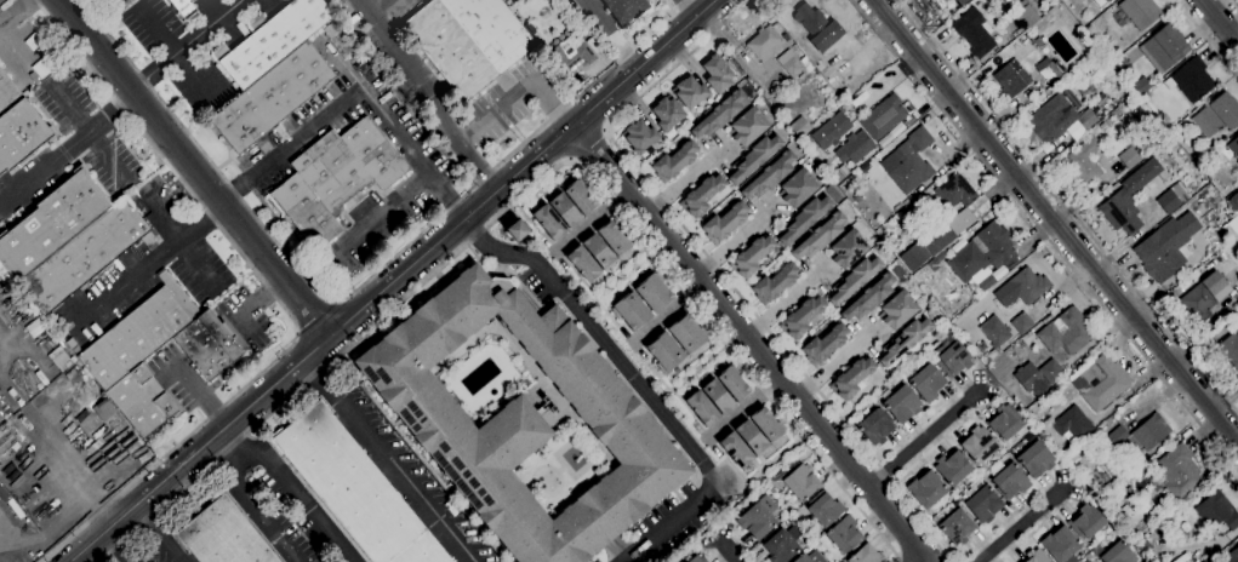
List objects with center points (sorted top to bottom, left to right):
building: (1106, 0)
building: (1108, 0)
building: (962, 1)
building: (1004, 1)
road: (1233, 4)
road: (376, 7)
road: (688, 7)
building: (182, 8)
building: (622, 8)
road: (13, 12)
building: (1140, 12)
building: (1026, 15)
road: (595, 16)
road: (1220, 21)
building: (817, 27)
building: (974, 31)
building: (786, 36)
road: (1206, 38)
building: (270, 39)
building: (337, 40)
building: (468, 40)
building: (1038, 41)
road: (16, 42)
building: (764, 42)
road: (189, 45)
road: (173, 46)
building: (1164, 47)
road: (736, 52)
building: (1083, 52)
building: (571, 56)
building: (791, 63)
building: (1050, 69)
building: (717, 74)
building: (1012, 78)
road: (660, 80)
building: (1191, 80)
building: (1142, 85)
building: (690, 91)
building: (1086, 91)
building: (7, 93)
building: (272, 97)
road: (64, 110)
road: (108, 111)
building: (667, 113)
building: (719, 114)
building: (1066, 115)
building: (1217, 115)
building: (883, 116)
building: (747, 126)
building: (800, 126)
building: (829, 130)
building: (21, 133)
road: (453, 133)
road: (396, 134)
building: (639, 136)
road: (587, 145)
building: (854, 147)
building: (1233, 147)
building: (1211, 148)
building: (1136, 151)
building: (753, 157)
building: (674, 161)
building: (912, 161)
building: (1083, 162)
road: (195, 167)
road: (477, 167)
road: (114, 170)
building: (769, 174)
building: (335, 178)
road: (688, 180)
building: (797, 187)
road: (236, 189)
road: (527, 190)
building: (955, 191)
road: (449, 195)
building: (701, 195)
building: (580, 196)
building: (1168, 201)
building: (1233, 201)
road: (1066, 208)
building: (564, 210)
building: (1120, 211)
building: (804, 218)
road: (1057, 220)
road: (200, 222)
building: (548, 222)
road: (591, 222)
building: (724, 222)
building: (51, 223)
building: (517, 230)
road: (1045, 235)
building: (820, 236)
building: (614, 237)
building: (937, 239)
road: (737, 241)
building: (995, 243)
building: (1165, 246)
building: (848, 248)
building: (598, 250)
building: (84, 256)
building: (752, 256)
building: (936, 260)
building: (583, 263)
building: (854, 279)
road: (390, 281)
road: (126, 282)
road: (309, 282)
building: (775, 282)
building: (986, 282)
road: (364, 283)
road: (270, 287)
building: (1022, 287)
building: (654, 292)
building: (914, 294)
building: (1204, 296)
building: (869, 297)
road: (276, 298)
road: (786, 302)
building: (897, 309)
road: (246, 310)
building: (631, 310)
building: (1237, 311)
road: (669, 314)
road: (315, 315)
building: (801, 317)
building: (1022, 322)
building: (994, 331)
building: (139, 332)
building: (1066, 332)
building: (686, 333)
building: (903, 339)
road: (752, 343)
building: (825, 343)
building: (207, 344)
road: (781, 345)
building: (1230, 350)
building: (664, 352)
building: (952, 355)
road: (837, 362)
building: (1051, 371)
building: (1026, 375)
building: (851, 378)
road: (319, 379)
building: (926, 382)
building: (1102, 382)
building: (732, 383)
road: (639, 385)
building: (717, 396)
building: (544, 398)
building: (141, 400)
building: (901, 403)
building: (552, 408)
building: (702, 408)
road: (744, 408)
building: (0, 418)
building: (521, 420)
building: (1005, 421)
building: (1072, 423)
building: (766, 424)
building: (875, 426)
building: (1142, 434)
building: (751, 436)
building: (6, 437)
road: (925, 437)
building: (979, 443)
building: (735, 449)
road: (233, 451)
building: (136, 453)
road: (263, 457)
building: (1036, 459)
building: (952, 466)
building: (1179, 472)
building: (1009, 478)
road: (405, 481)
building: (800, 481)
building: (1101, 482)
building: (353, 488)
building: (926, 488)
building: (1124, 498)
building: (1151, 500)
building: (954, 501)
building: (983, 504)
building: (823, 507)
building: (1217, 511)
building: (758, 517)
building: (1085, 521)
road: (1029, 523)
building: (957, 526)
building: (1173, 529)
building: (844, 533)
building: (222, 534)
road: (160, 538)
building: (782, 544)
building: (1060, 544)
road: (118, 546)
road: (730, 551)
building: (1118, 554)
building: (866, 555)
building: (816, 556)
building: (1037, 556)
building: (1231, 556)
building: (697, 558)
building: (801, 558)
road: (897, 560)
building: (840, 561)
building: (1086, 561)

